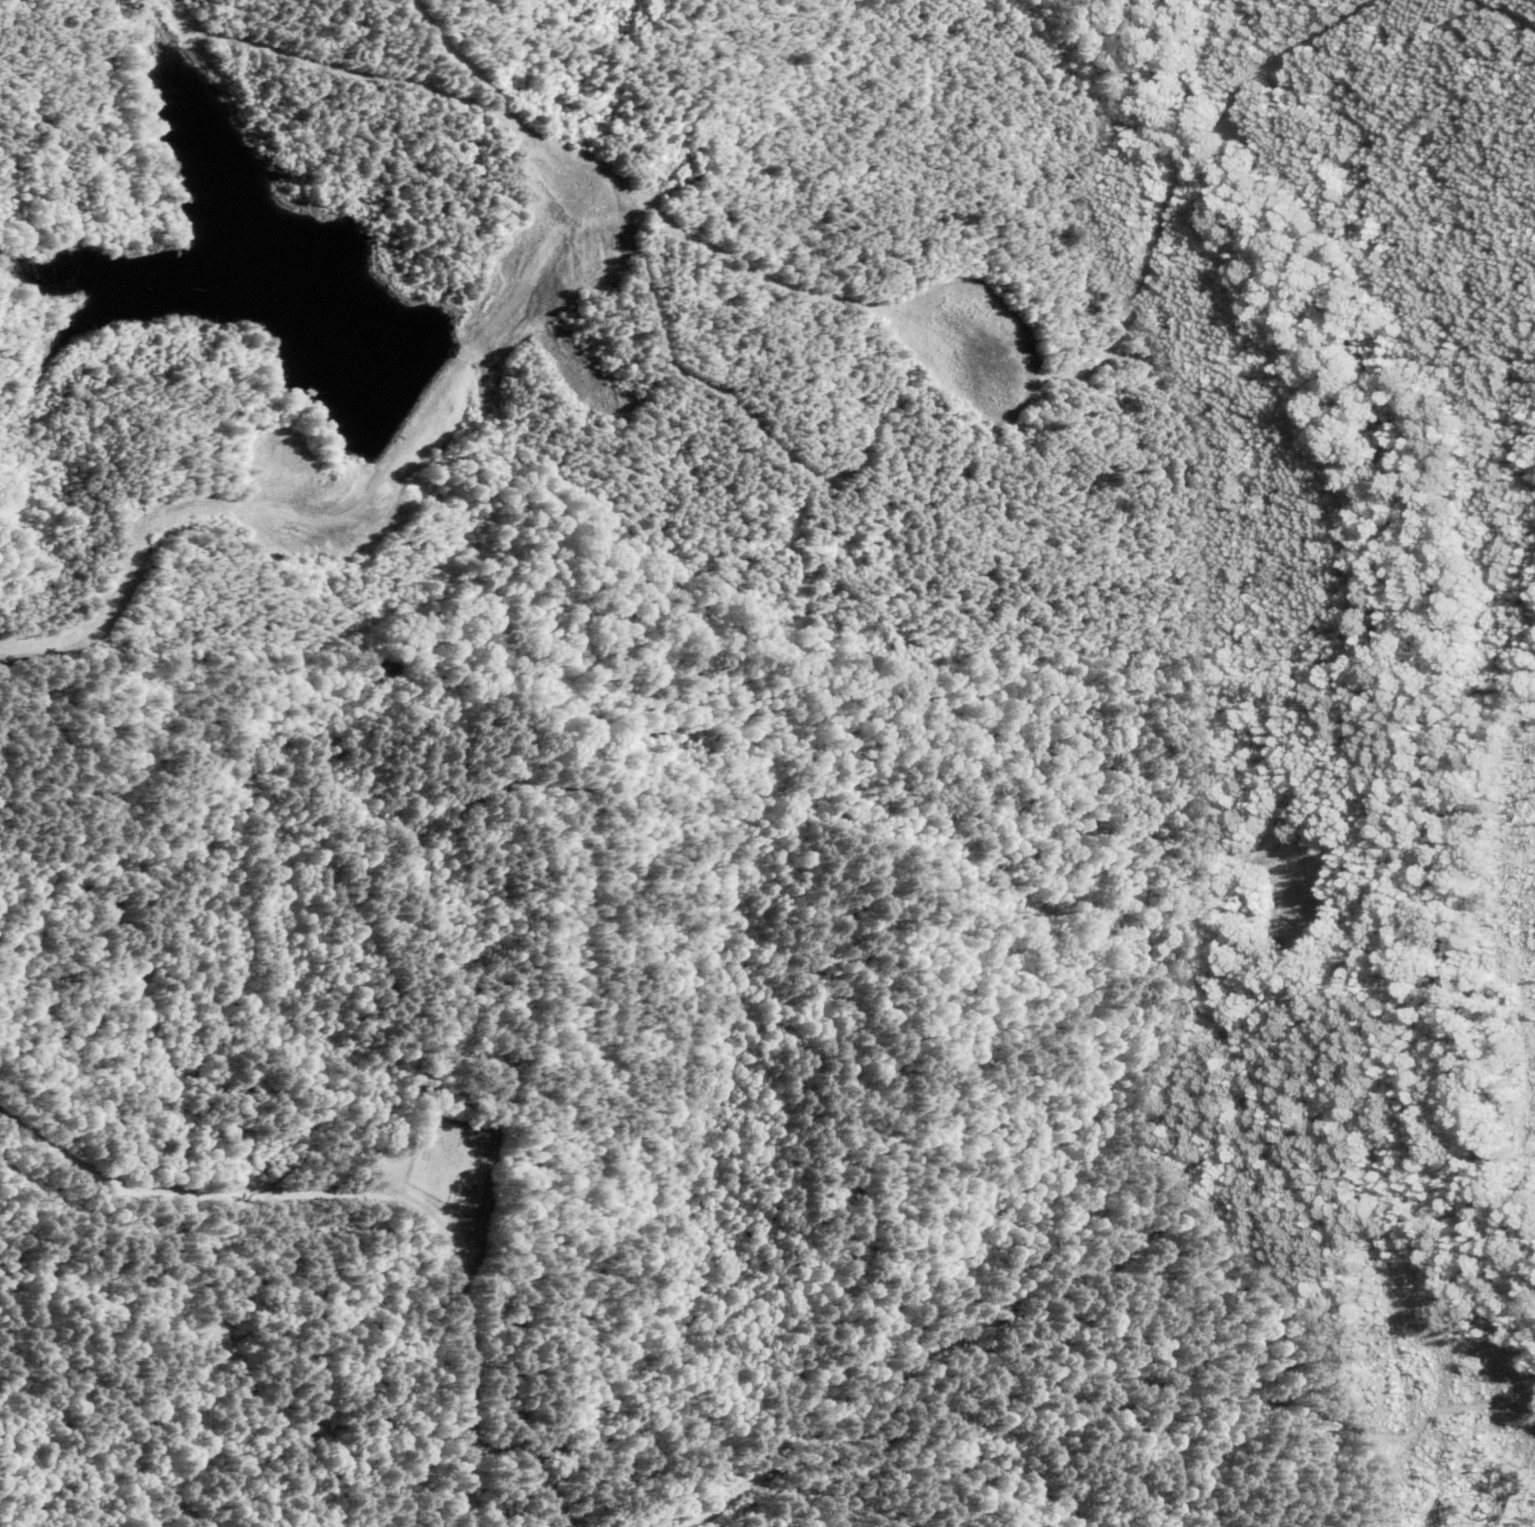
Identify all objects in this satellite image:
park: (462, 1164)
road: (370, 1192)

